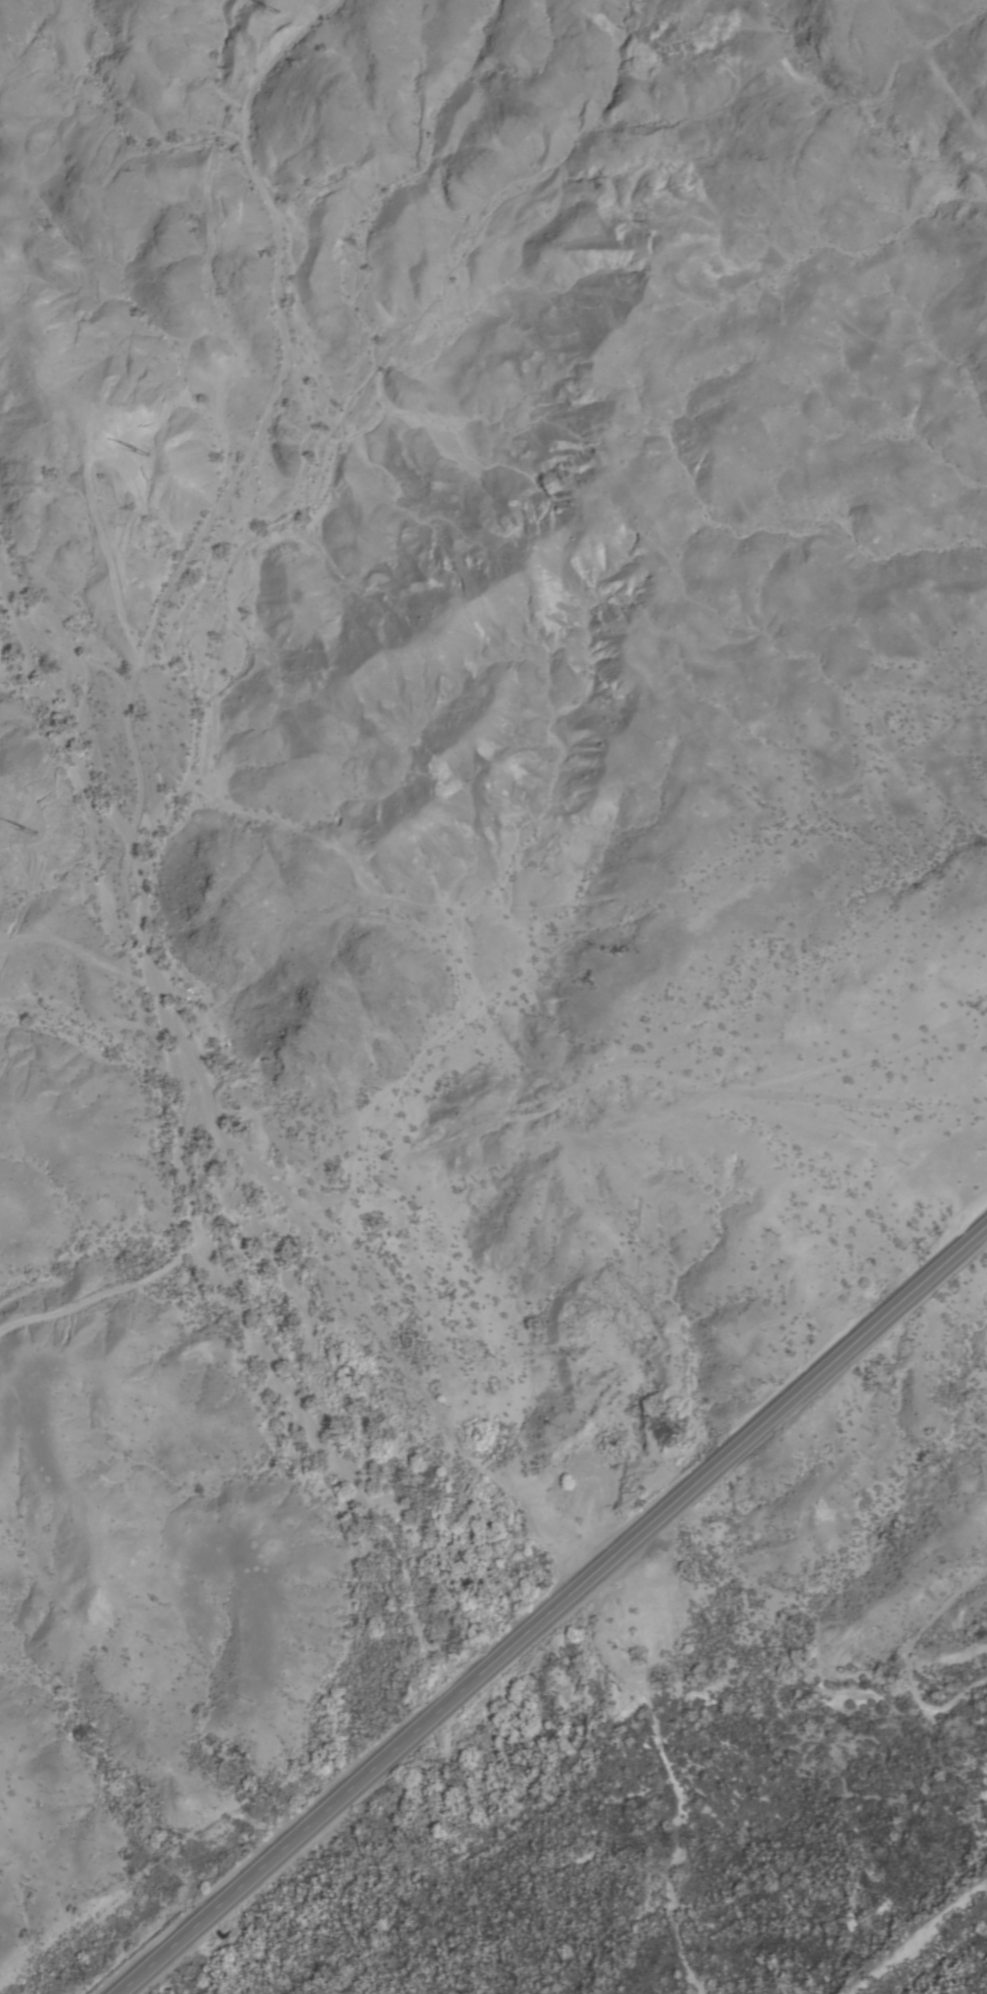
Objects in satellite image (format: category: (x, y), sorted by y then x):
power tower: (270, 7)
power tower: (140, 452)
power tower: (32, 832)
road: (555, 1612)

